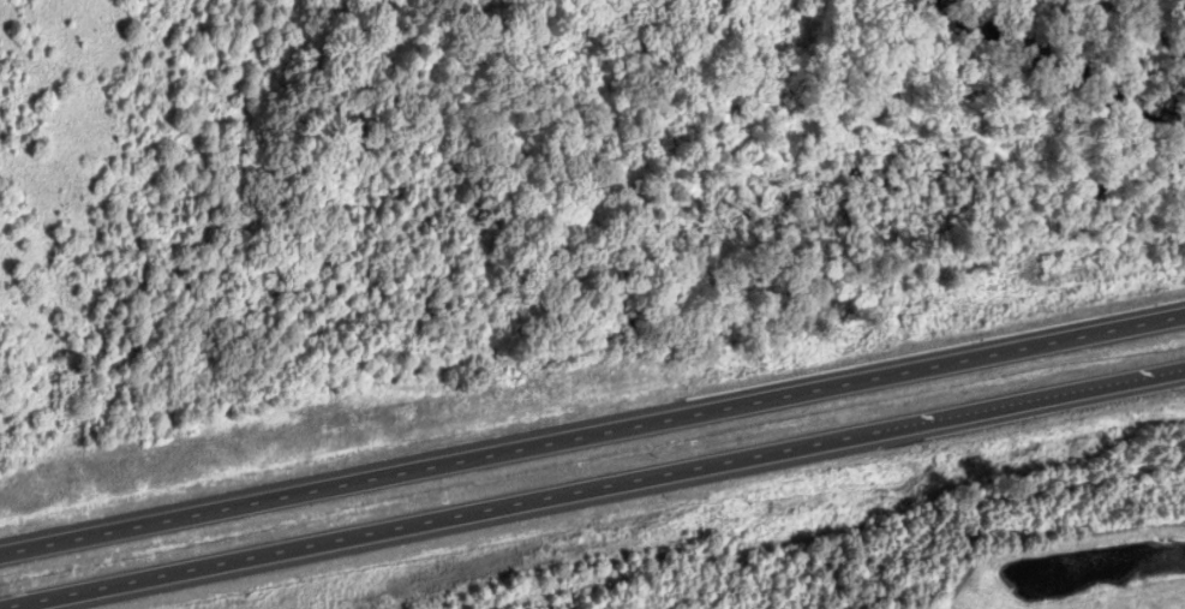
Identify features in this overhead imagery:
road: (592, 441)
road: (592, 486)

